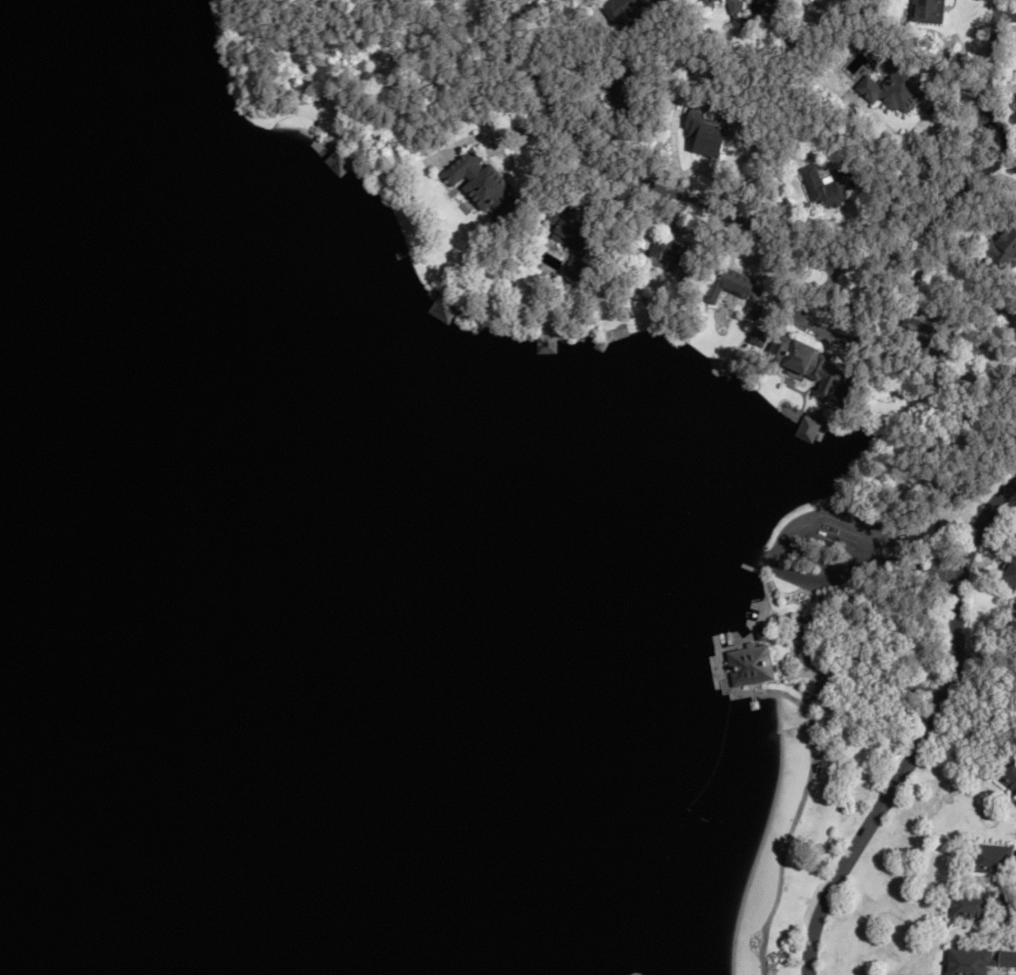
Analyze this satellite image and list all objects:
building: (717, 0)
building: (735, 6)
building: (928, 10)
building: (896, 88)
building: (619, 90)
building: (708, 133)
building: (322, 144)
building: (343, 162)
building: (829, 187)
building: (484, 188)
building: (568, 232)
building: (1005, 247)
road: (788, 252)
building: (666, 253)
building: (733, 290)
building: (918, 326)
building: (757, 338)
building: (546, 343)
building: (808, 364)
building: (808, 429)
building: (1011, 573)
building: (752, 664)
road: (924, 728)
building: (1008, 772)
building: (990, 859)
building: (1004, 901)
building: (967, 905)

